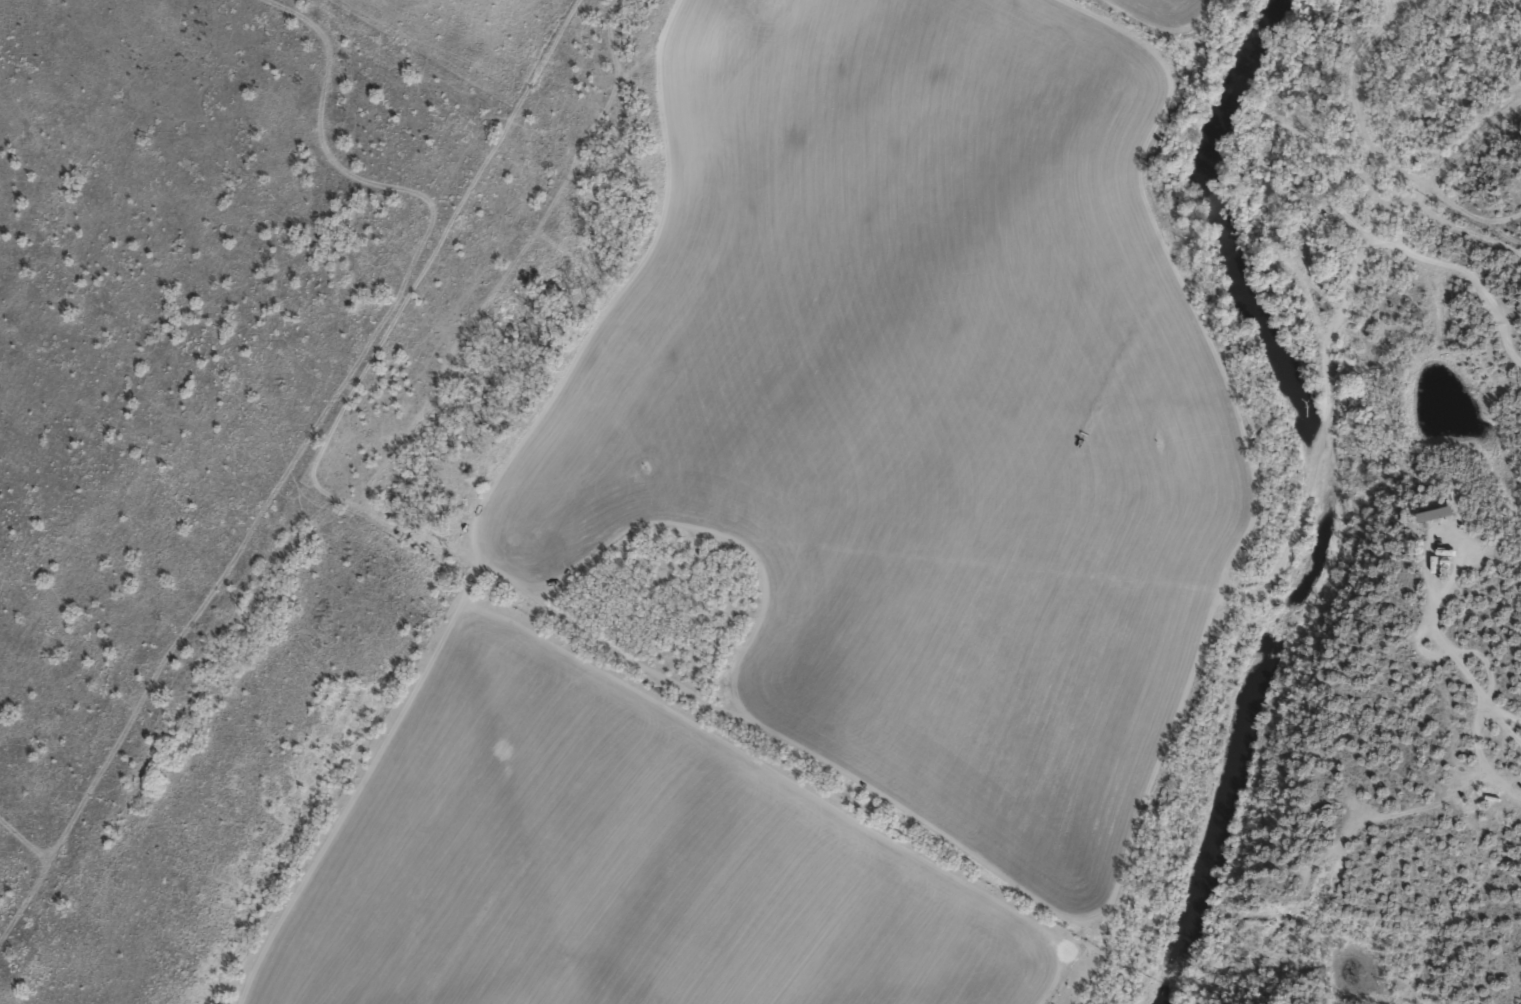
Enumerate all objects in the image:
road: (1435, 254)

